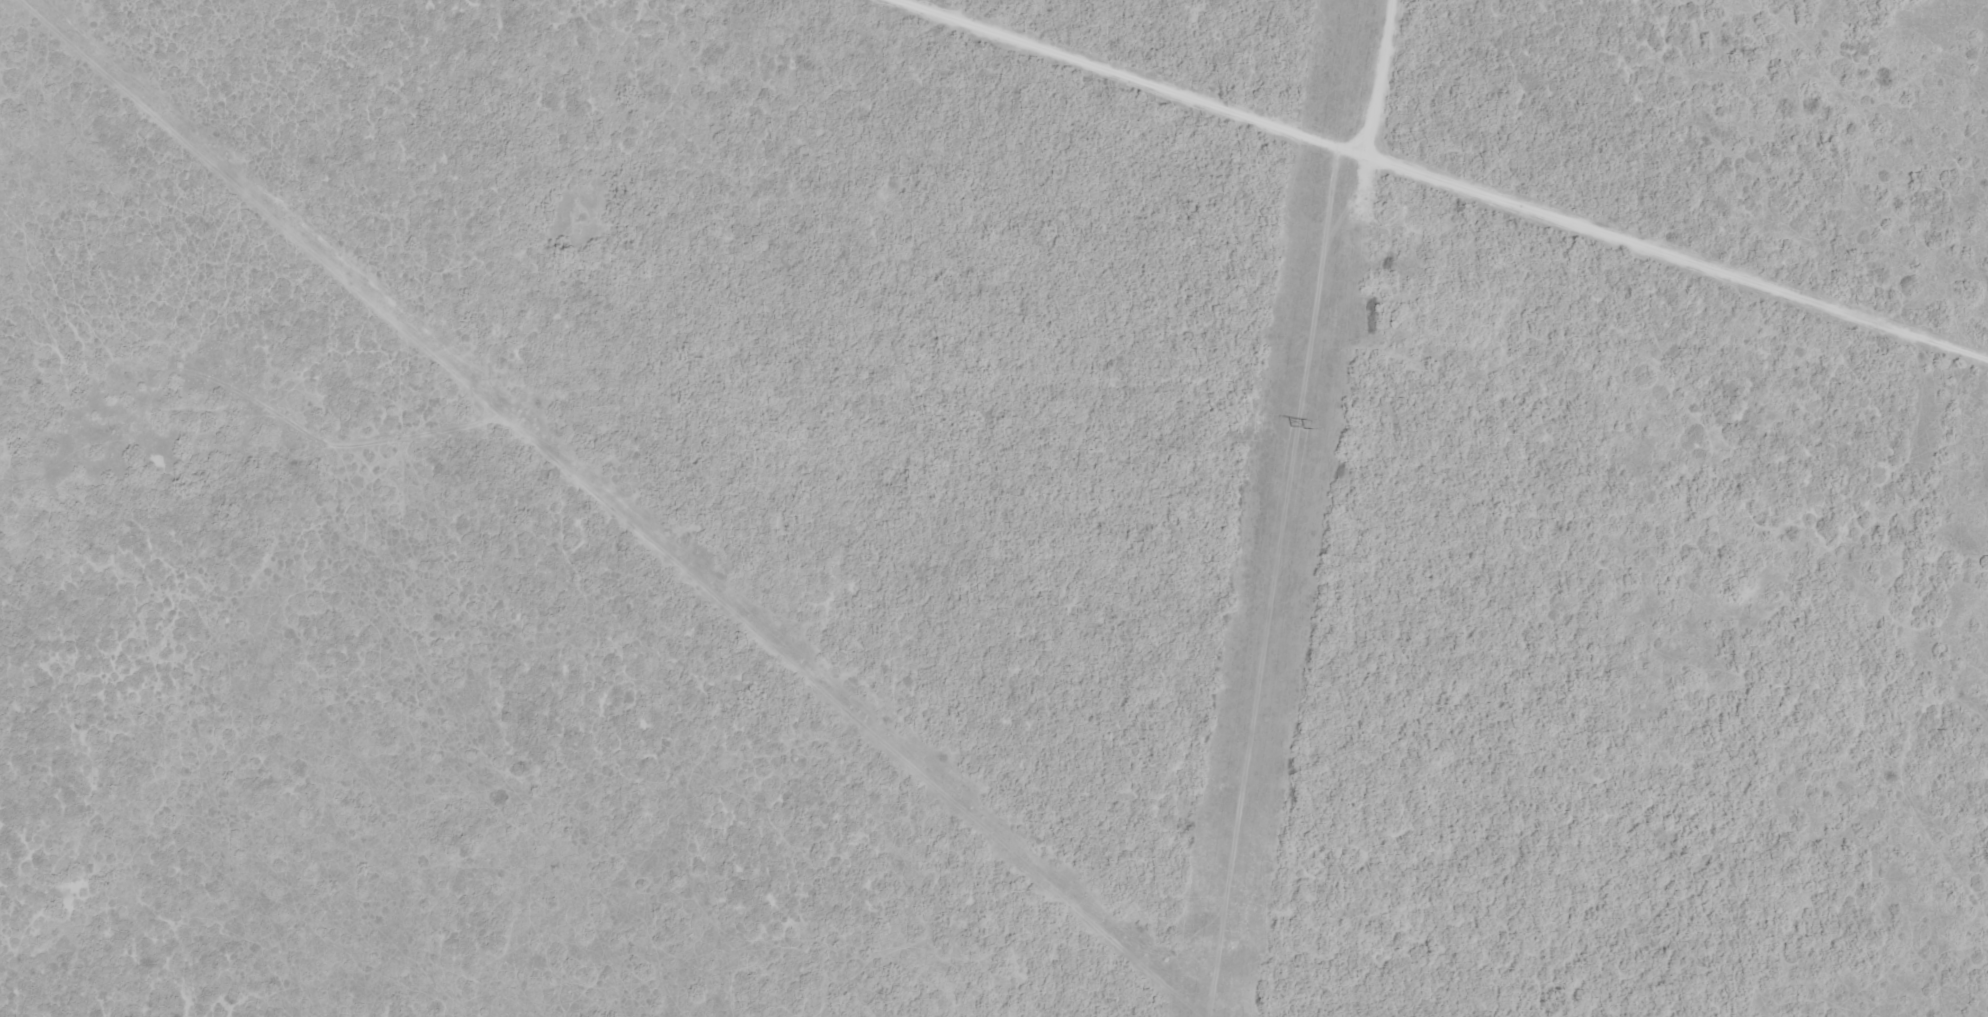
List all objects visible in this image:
road: (1466, 173)
power tower: (1294, 427)

